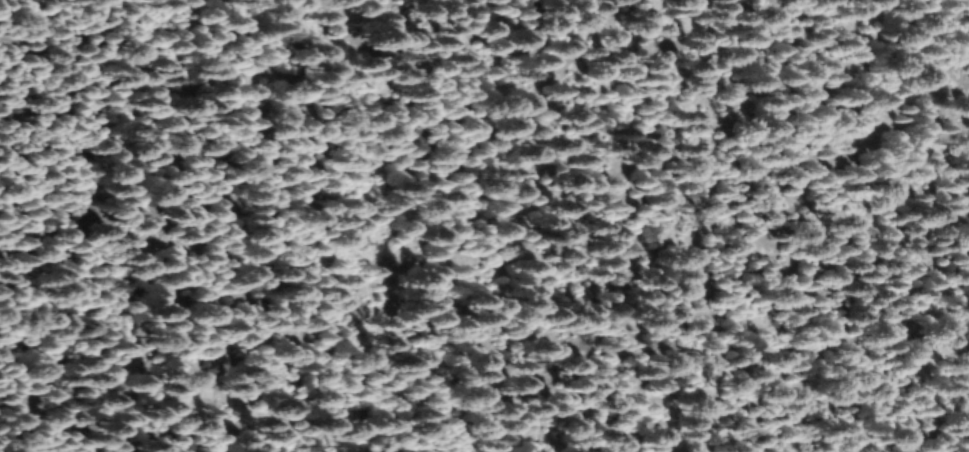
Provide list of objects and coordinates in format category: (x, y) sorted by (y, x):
road: (888, 379)

